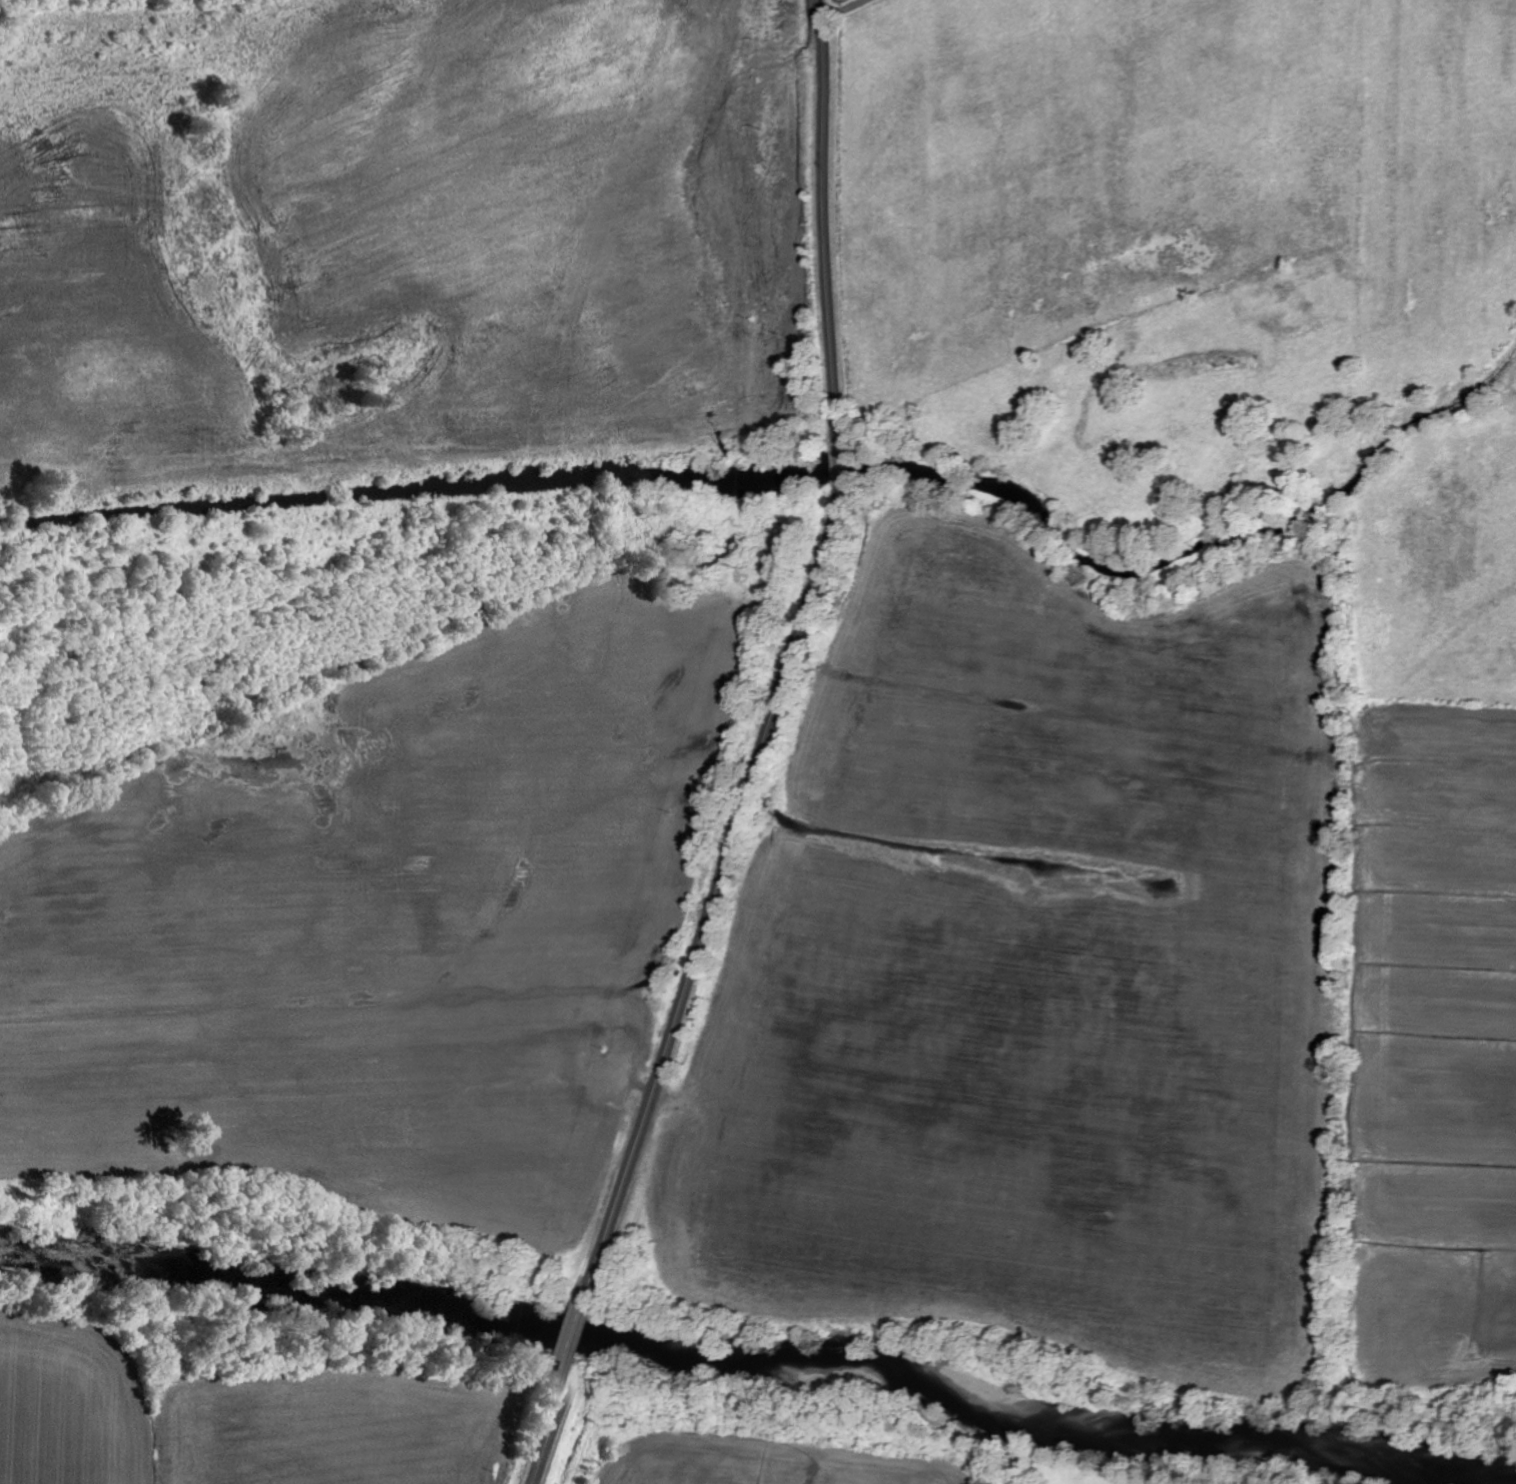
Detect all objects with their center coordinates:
road: (846, 11)
road: (792, 654)
road: (577, 1336)
river: (764, 1359)
road: (546, 1434)

